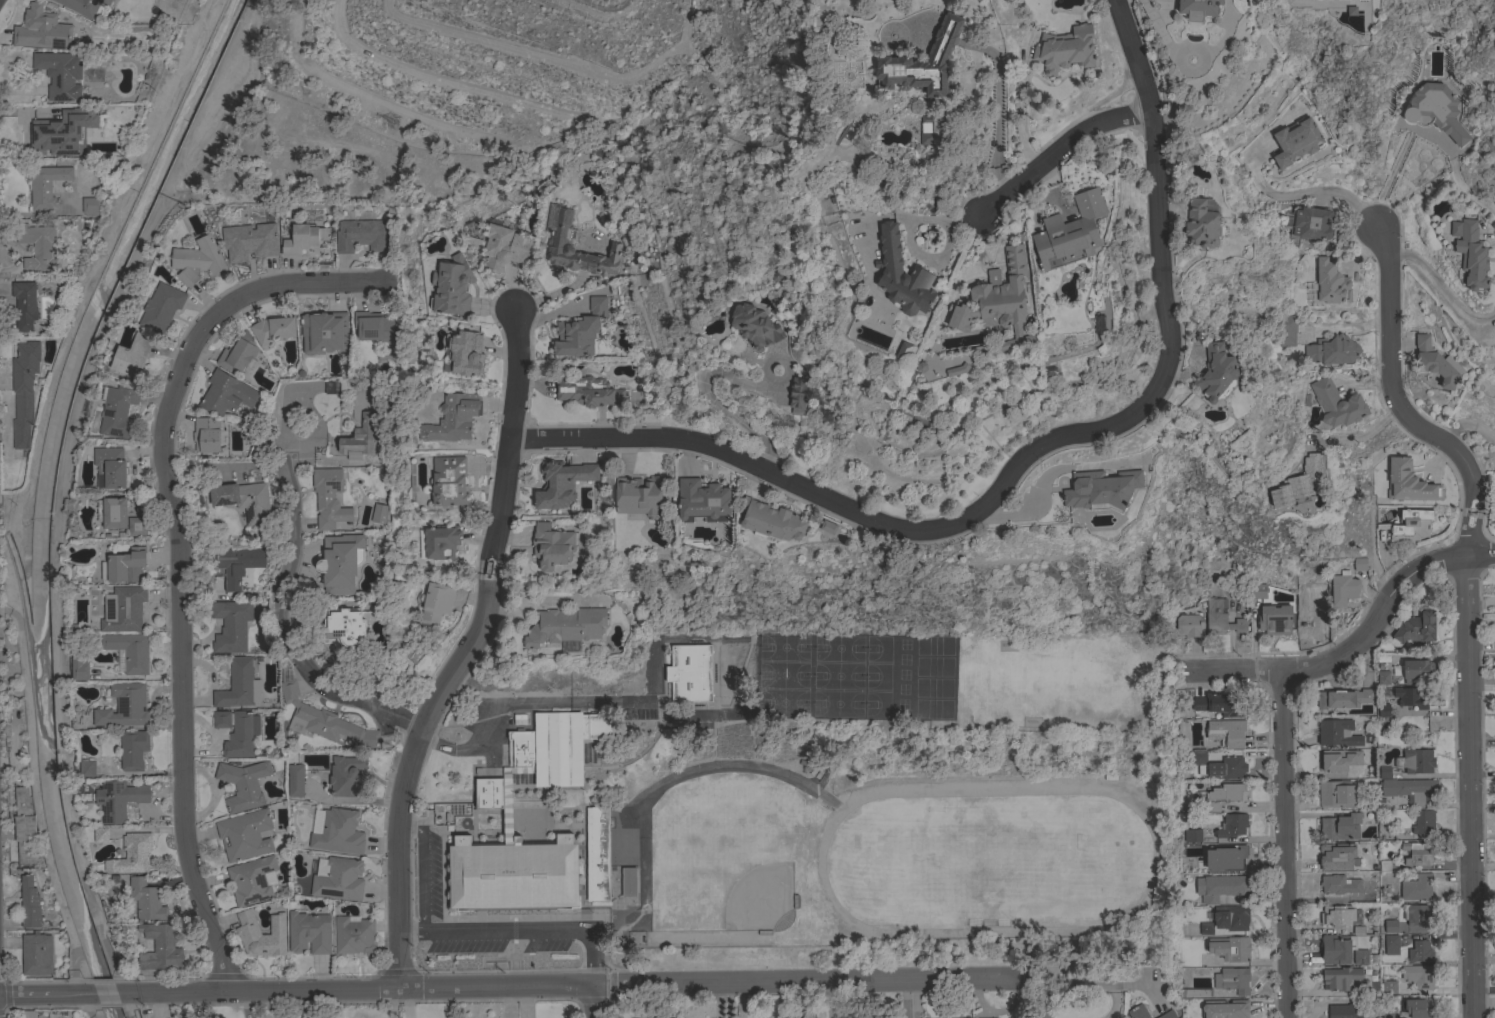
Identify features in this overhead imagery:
building: (113, 0)
building: (1307, 0)
building: (87, 7)
building: (1198, 8)
road: (600, 14)
building: (41, 29)
building: (1065, 49)
road: (556, 58)
building: (922, 62)
building: (58, 74)
road: (444, 81)
road: (174, 93)
road: (371, 93)
road: (206, 97)
building: (1436, 110)
building: (56, 133)
building: (911, 133)
building: (1295, 141)
road: (1056, 148)
building: (45, 184)
road: (1302, 195)
road: (1470, 197)
building: (91, 205)
building: (1201, 224)
building: (1307, 224)
building: (1070, 232)
building: (361, 235)
building: (305, 238)
building: (559, 240)
building: (249, 241)
building: (474, 242)
building: (37, 246)
building: (505, 247)
building: (1470, 253)
building: (198, 260)
building: (901, 275)
building: (1330, 283)
building: (452, 286)
road: (1444, 288)
building: (1004, 298)
building: (24, 305)
building: (1104, 306)
building: (161, 307)
building: (755, 326)
building: (374, 327)
building: (273, 329)
building: (1285, 329)
building: (580, 330)
building: (324, 332)
building: (1332, 350)
road: (62, 351)
building: (237, 352)
building: (466, 352)
building: (384, 355)
building: (132, 356)
building: (1434, 362)
building: (1217, 373)
building: (339, 385)
building: (24, 391)
building: (588, 391)
building: (798, 391)
building: (226, 393)
road: (707, 397)
building: (1336, 403)
road: (1398, 407)
building: (118, 410)
building: (452, 418)
road: (1457, 424)
building: (206, 434)
building: (358, 438)
road: (1019, 462)
building: (110, 467)
building: (449, 481)
building: (1408, 482)
building: (561, 483)
building: (1101, 489)
building: (638, 495)
building: (329, 497)
building: (1275, 498)
building: (243, 499)
building: (703, 501)
building: (1493, 505)
building: (112, 512)
building: (379, 513)
building: (771, 520)
building: (1411, 524)
building: (137, 526)
building: (828, 526)
building: (439, 542)
building: (552, 546)
building: (340, 562)
building: (237, 563)
road: (1430, 564)
building: (124, 565)
road: (177, 565)
building: (1360, 567)
road: (54, 575)
building: (1343, 588)
building: (1258, 590)
building: (436, 603)
building: (1312, 607)
building: (123, 608)
building: (1221, 616)
road: (279, 619)
building: (1274, 619)
building: (1189, 624)
building: (231, 625)
building: (565, 626)
building: (346, 627)
building: (1414, 628)
building: (130, 650)
road: (462, 651)
building: (79, 667)
road: (1297, 669)
building: (1415, 670)
building: (1383, 677)
building: (239, 684)
park: (816, 684)
park: (924, 684)
building: (682, 685)
building: (1410, 697)
building: (1344, 698)
building: (1220, 704)
building: (124, 705)
building: (1383, 709)
building: (221, 719)
building: (324, 721)
building: (1226, 732)
building: (1337, 732)
building: (241, 734)
building: (133, 749)
building: (1199, 757)
building: (1339, 759)
building: (1416, 760)
building: (1230, 767)
building: (86, 768)
building: (1384, 772)
building: (346, 775)
building: (295, 780)
road: (35, 784)
building: (243, 784)
road: (1473, 787)
building: (1412, 789)
building: (1335, 793)
building: (1221, 795)
building: (117, 799)
building: (1423, 821)
building: (1231, 825)
building: (25, 826)
building: (1340, 826)
building: (1187, 829)
building: (338, 832)
building: (590, 833)
building: (101, 834)
building: (245, 834)
building: (627, 846)
road: (1282, 846)
building: (1417, 853)
building: (132, 854)
building: (1337, 856)
building: (1230, 857)
park: (718, 859)
road: (421, 868)
track: (981, 868)
parking lot: (428, 876)
building: (339, 879)
building: (252, 880)
building: (628, 881)
building: (1340, 883)
building: (1221, 887)
building: (1417, 887)
building: (1367, 898)
building: (146, 899)
building: (29, 903)
building: (1417, 914)
building: (1337, 915)
building: (1231, 917)
building: (1390, 925)
building: (1206, 928)
building: (247, 931)
building: (309, 931)
road: (518, 932)
building: (353, 934)
building: (1391, 944)
building: (160, 947)
building: (1230, 948)
building: (1210, 950)
building: (1343, 950)
building: (1420, 951)
building: (36, 953)
building: (1418, 976)
building: (1339, 977)
road: (78, 980)
building: (1232, 980)
road: (547, 984)
building: (1387, 987)
building: (1197, 992)
road: (903, 998)
road: (914, 998)
road: (795, 999)
road: (593, 1001)
road: (87, 1004)
building: (1418, 1007)
building: (1225, 1008)
building: (1345, 1011)
building: (1138, 1012)
building: (29, 1014)
building: (1388, 1014)
building: (1165, 1015)
road: (130, 1016)
building: (44, 1017)
road: (92, 1017)
building: (228, 1017)
building: (660, 1017)

